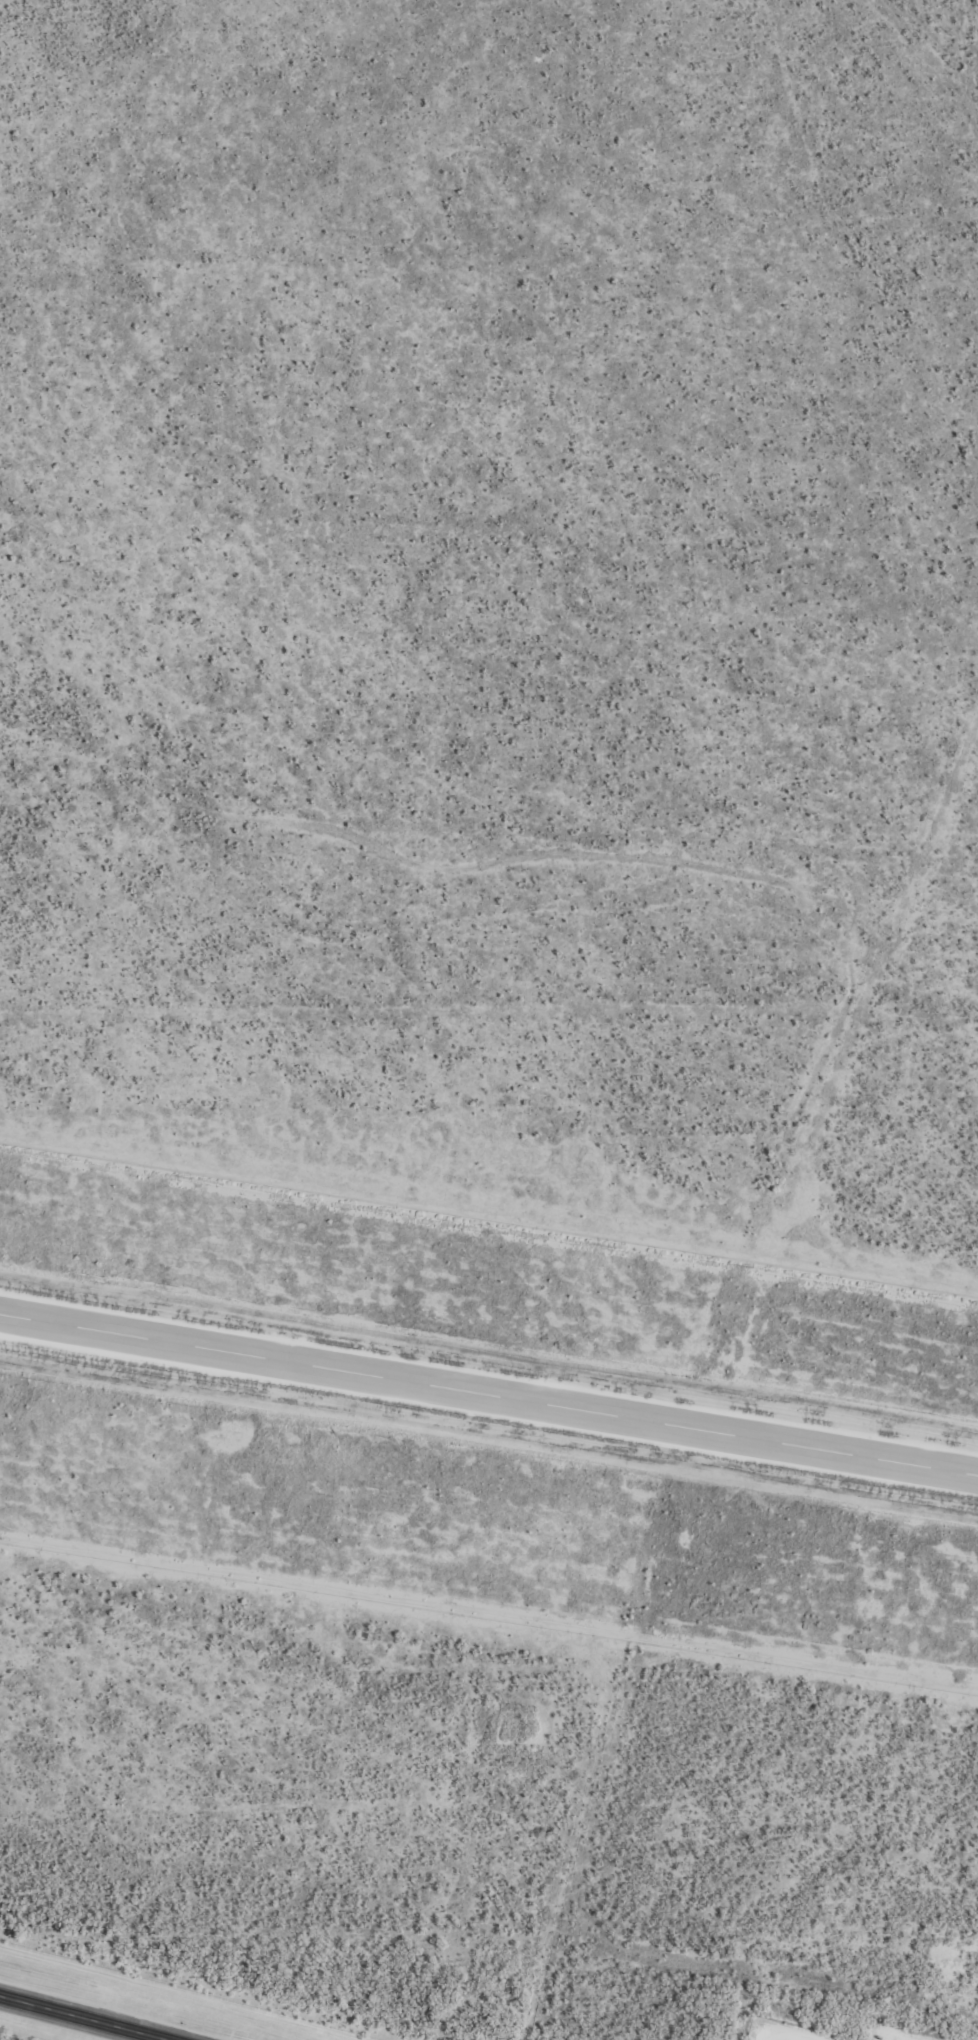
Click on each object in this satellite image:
road: (25, 712)
airport runway: (489, 1390)
airport: (487, 1411)
road: (61, 2023)

